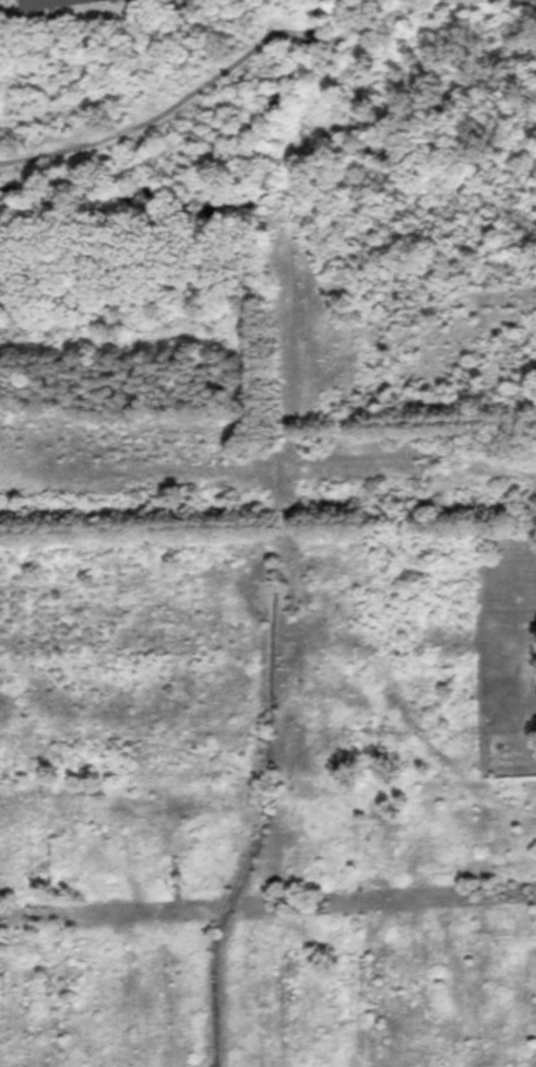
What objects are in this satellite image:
road: (534, 0)
building: (51, 2)
road: (372, 21)
road: (310, 37)
road: (157, 115)

